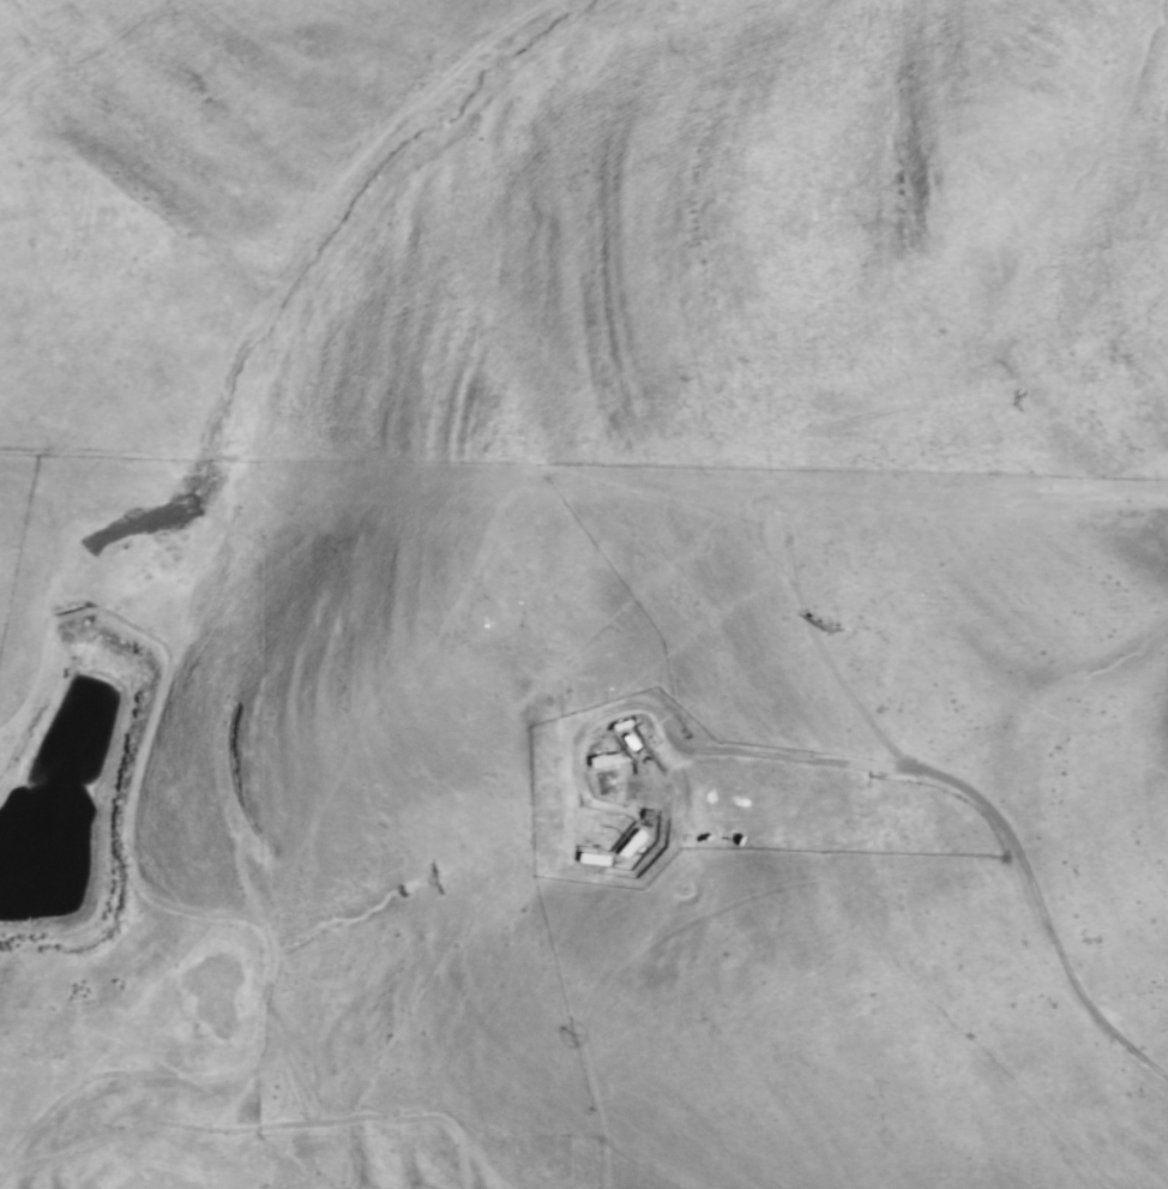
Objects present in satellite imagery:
road: (987, 807)
building: (600, 827)
building: (630, 845)
road: (257, 1139)

